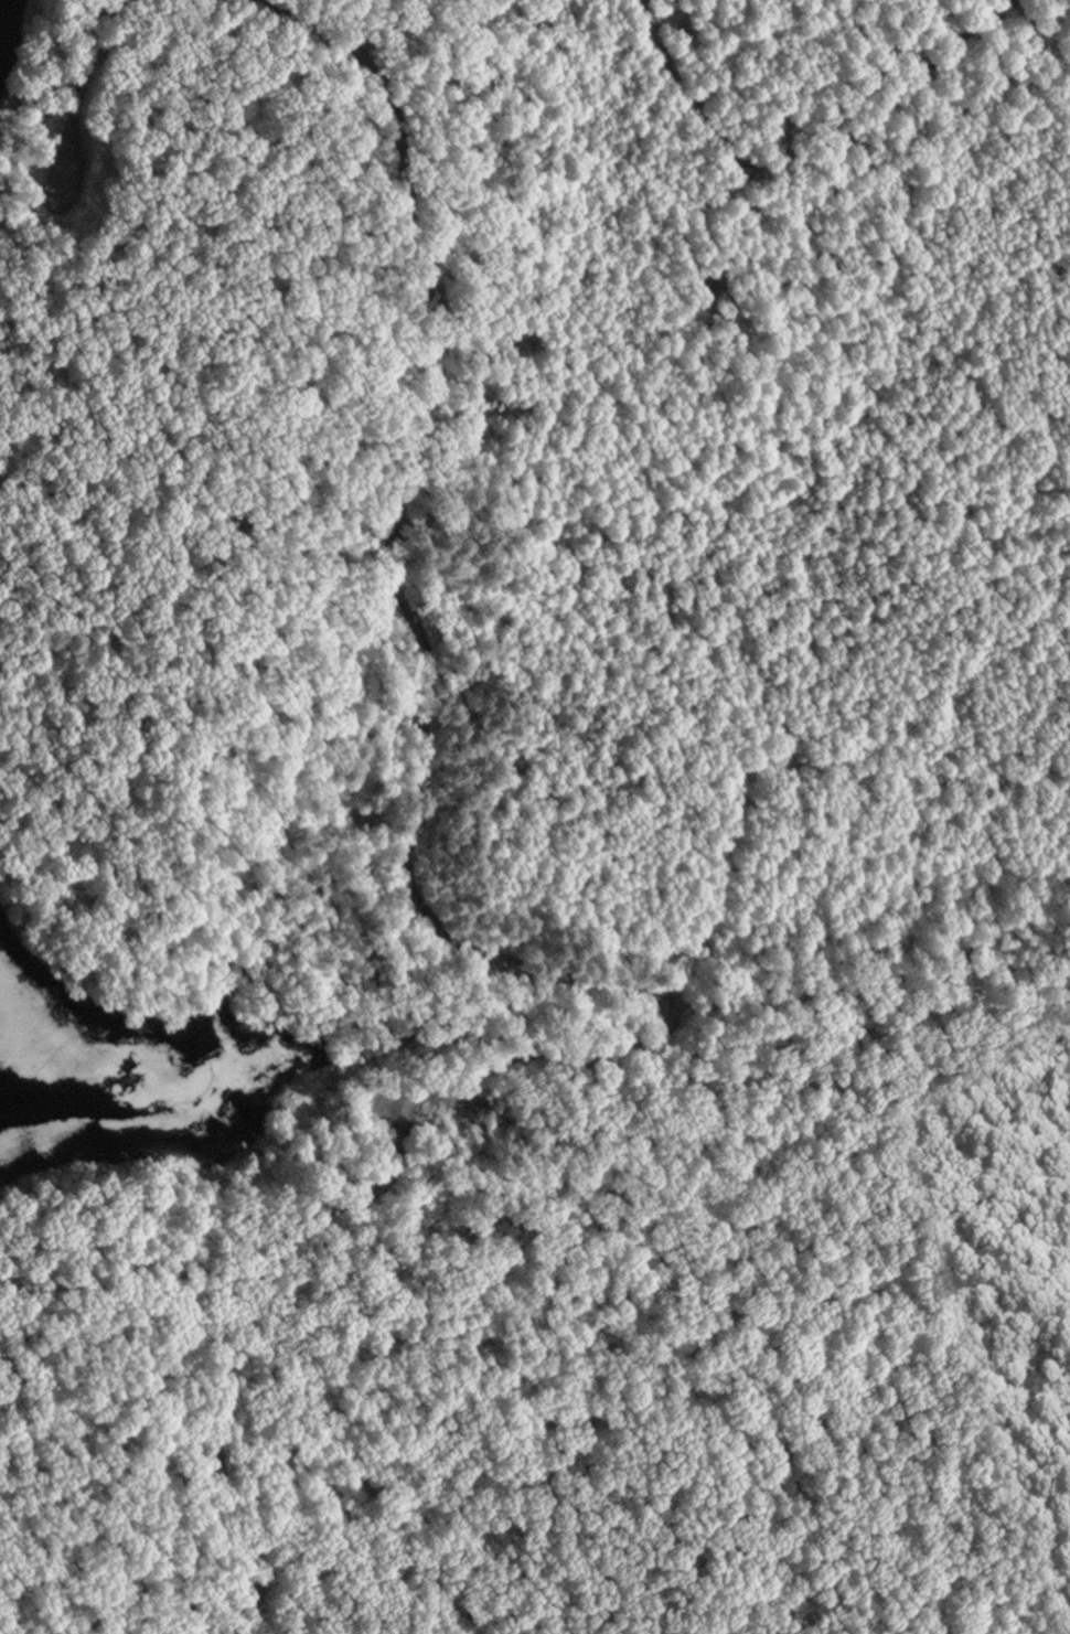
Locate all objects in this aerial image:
road: (299, 33)
road: (396, 34)
road: (805, 159)
road: (561, 987)

